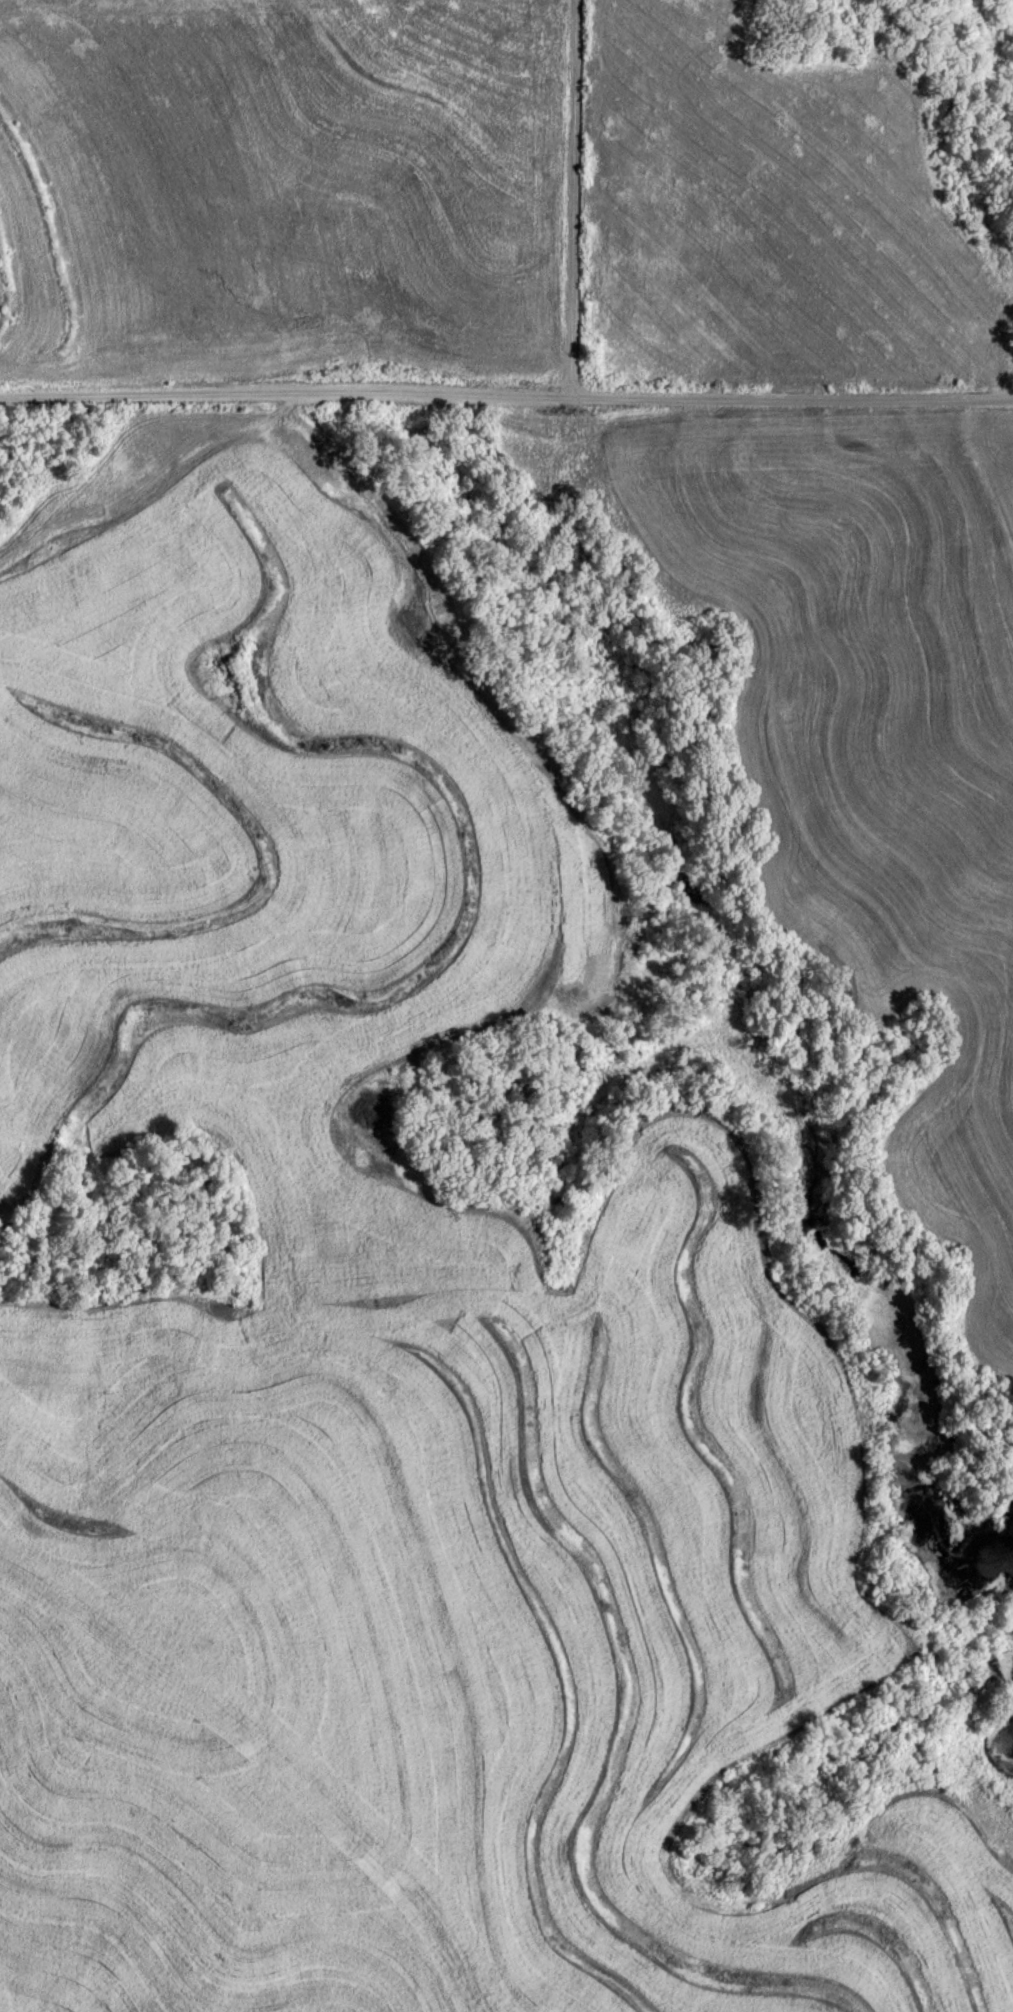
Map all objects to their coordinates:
road: (506, 396)

